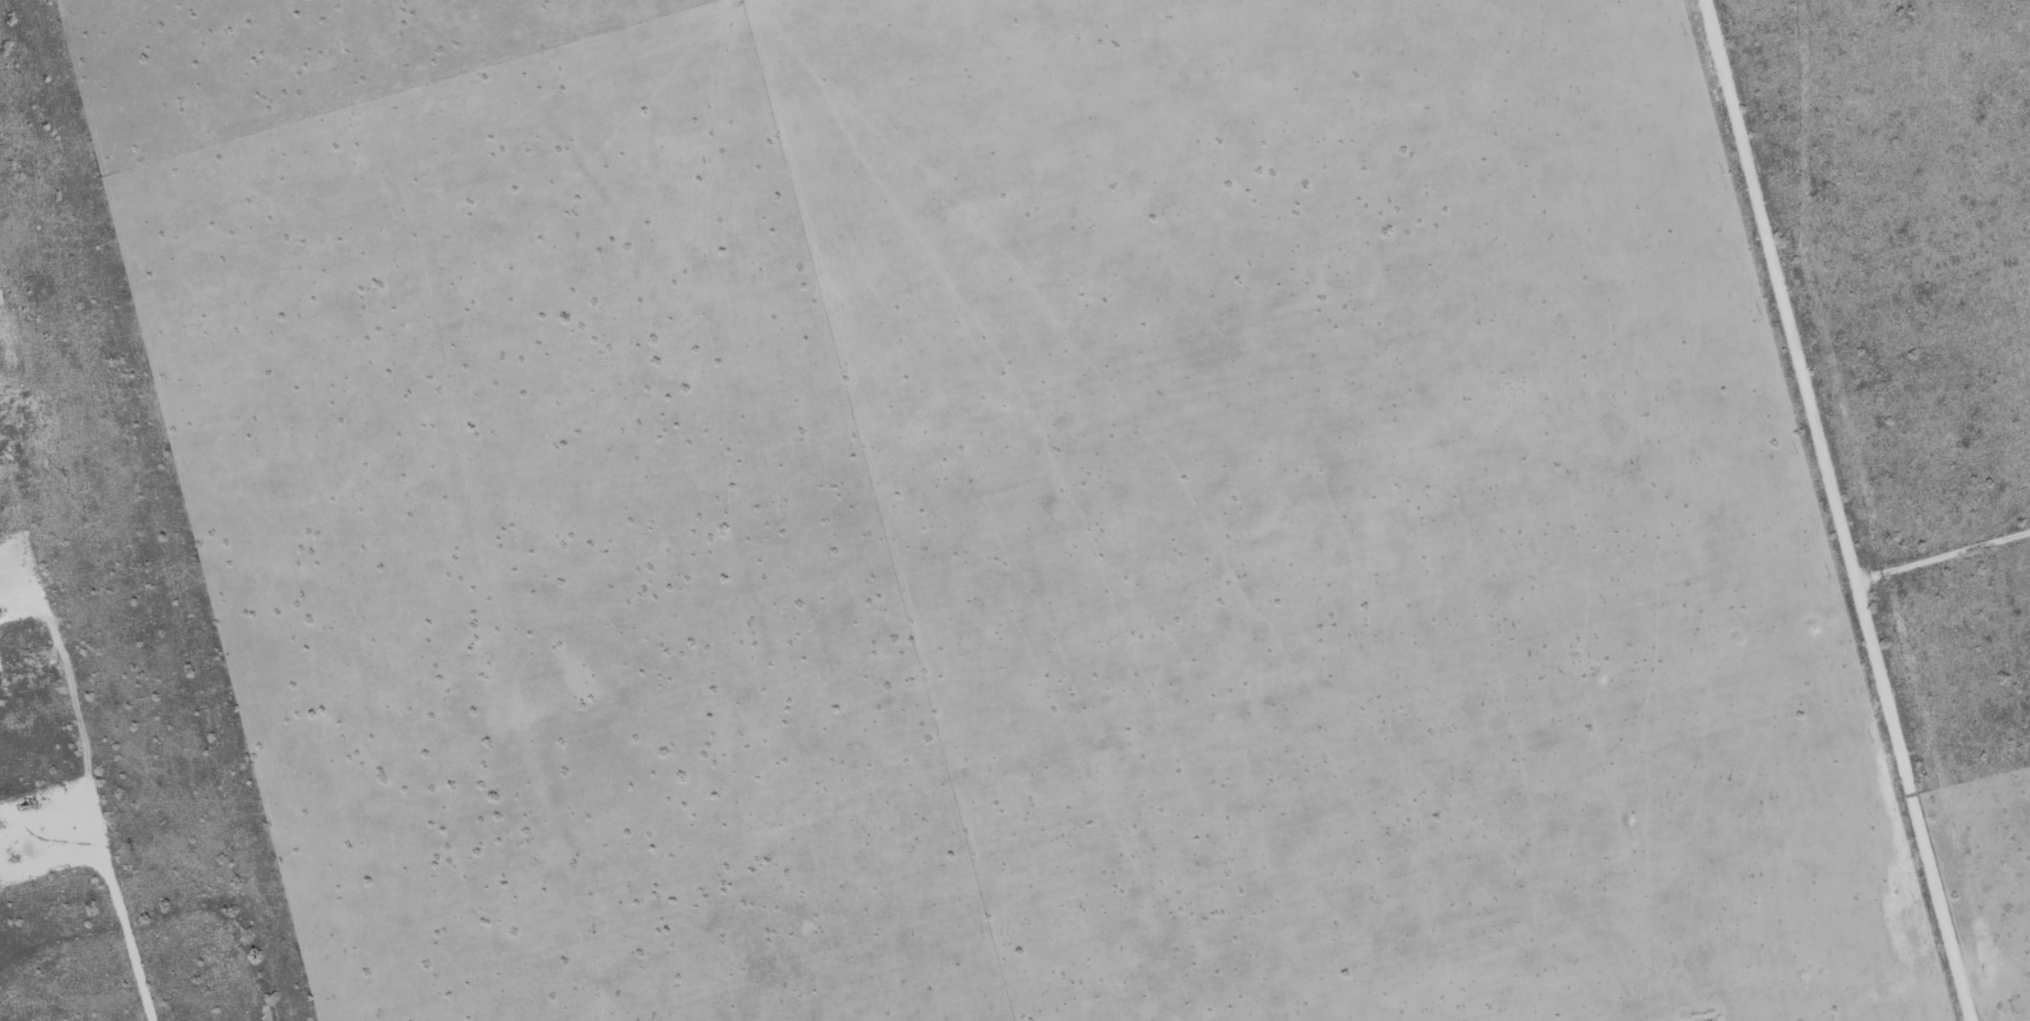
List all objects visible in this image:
road: (1839, 510)

